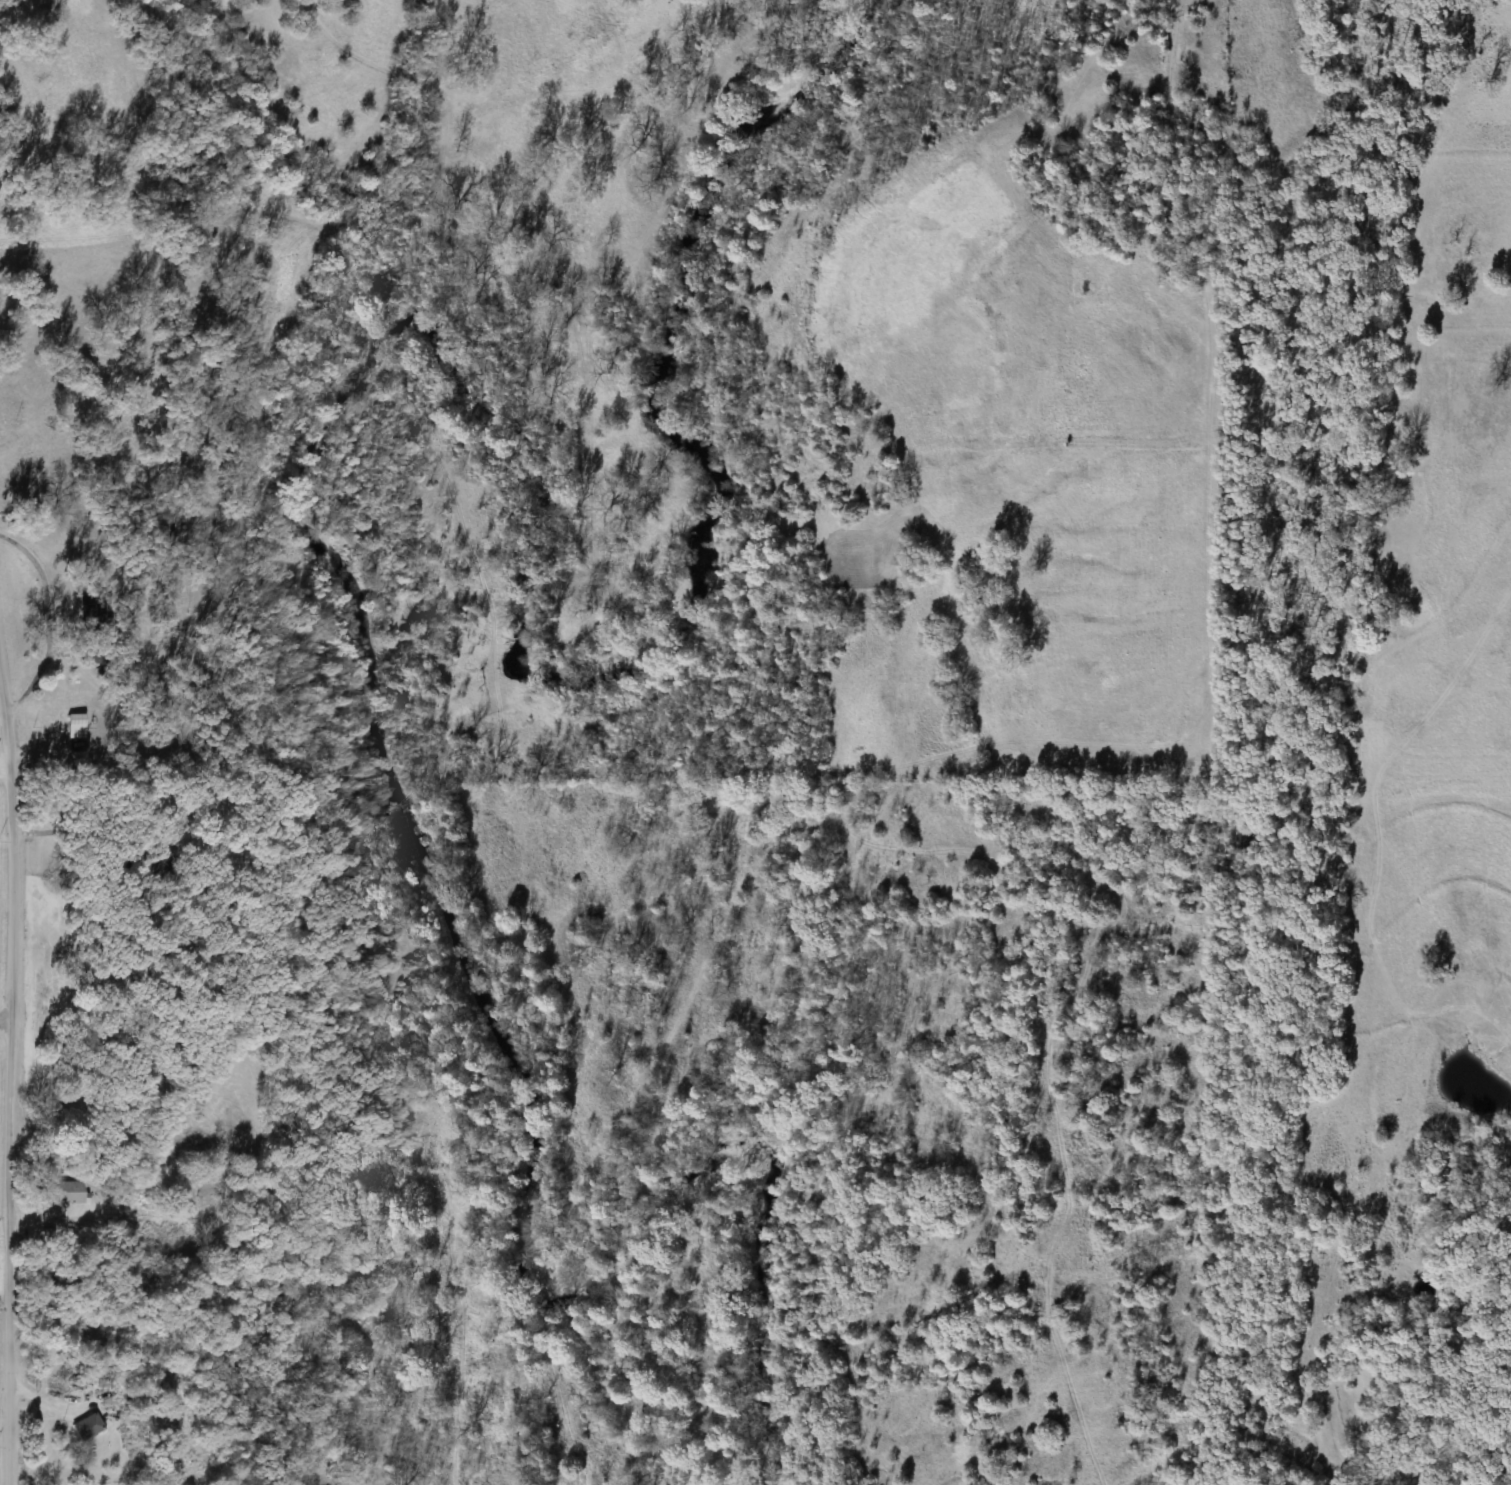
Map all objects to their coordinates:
building: (32, 270)
building: (93, 628)
building: (75, 720)
road: (5, 766)
road: (7, 1028)
road: (14, 1085)
building: (152, 1186)
building: (65, 1192)
building: (143, 1220)
building: (89, 1327)
building: (87, 1427)

